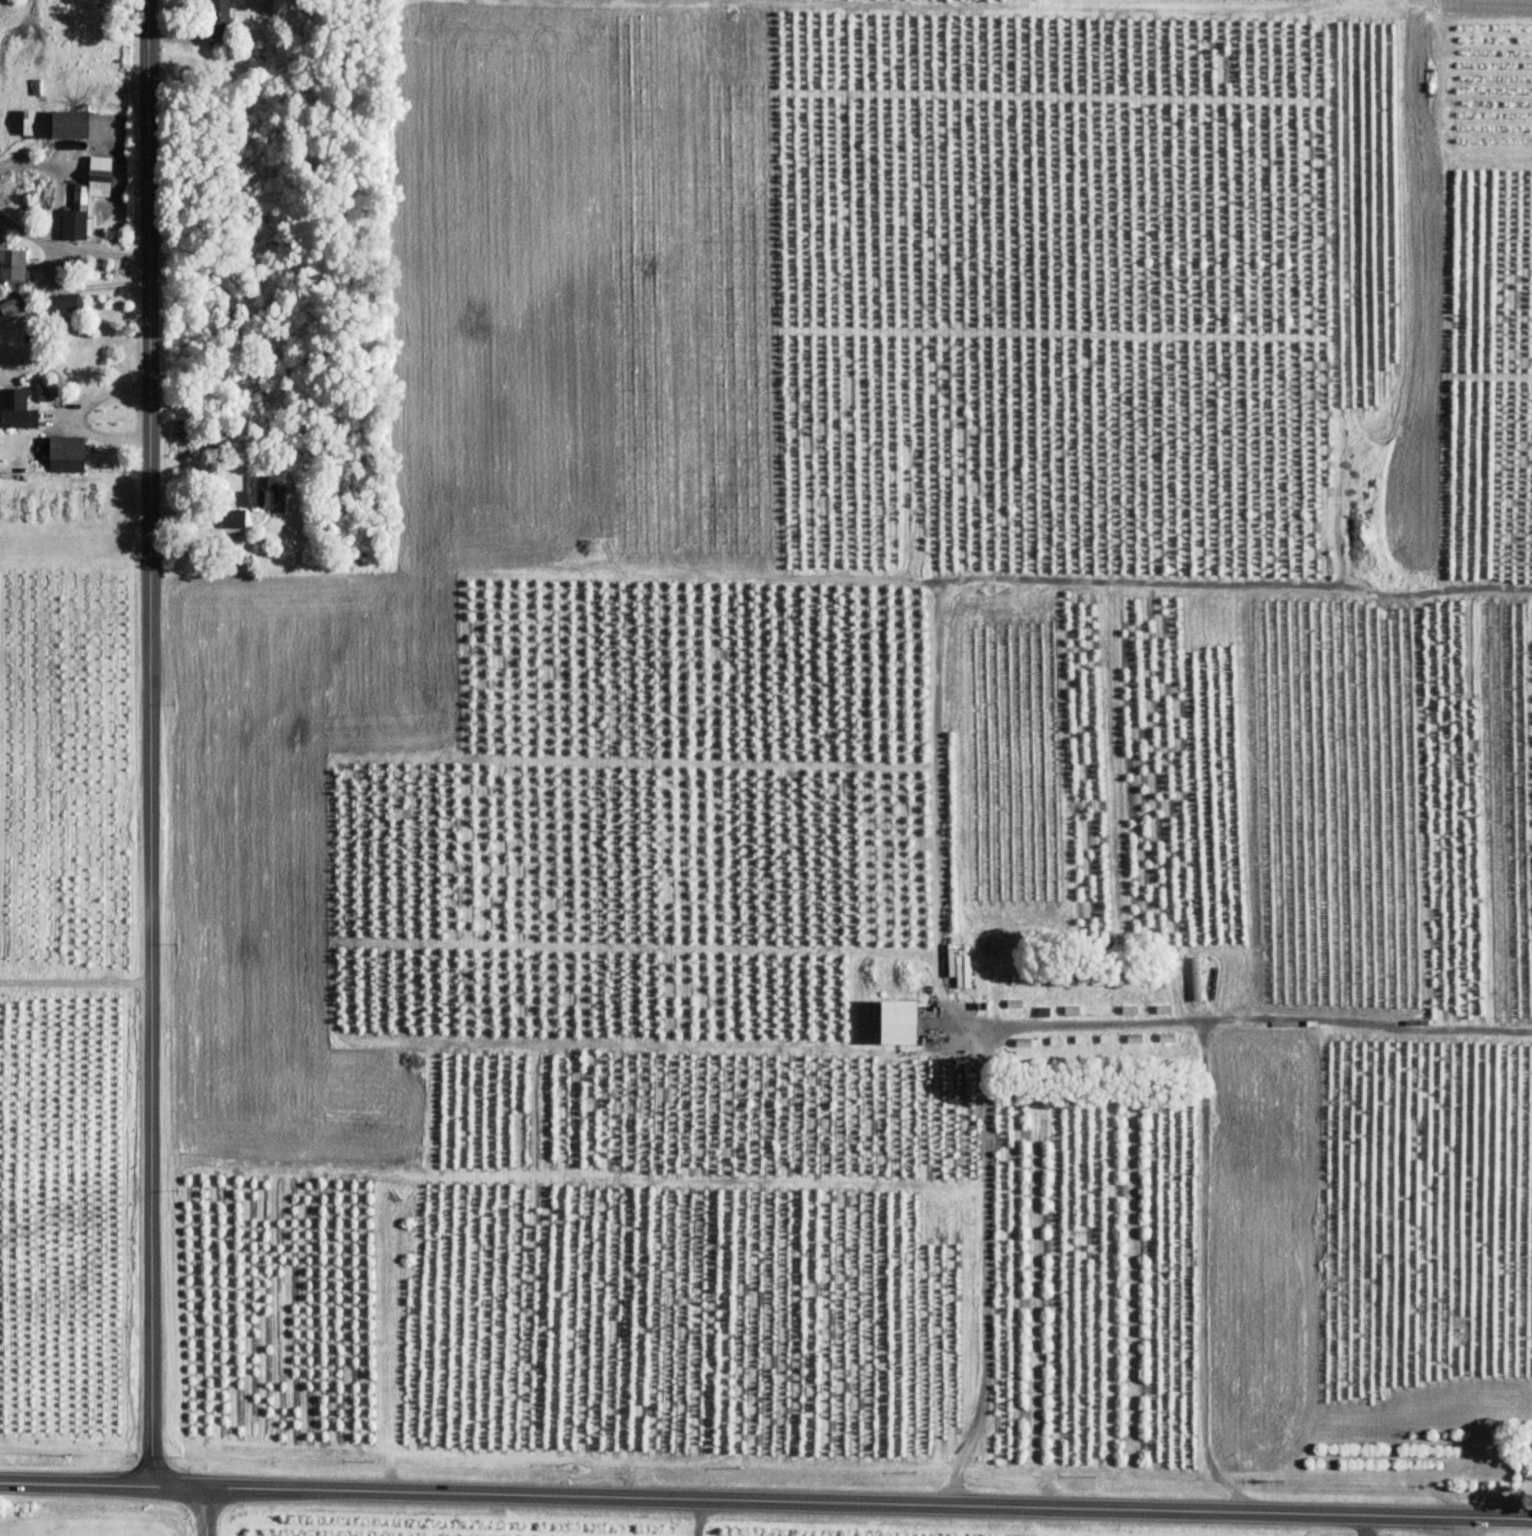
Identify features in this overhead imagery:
building: (220, 19)
building: (57, 125)
building: (87, 199)
road: (30, 234)
building: (12, 267)
road: (48, 272)
building: (13, 308)
building: (17, 409)
road: (76, 414)
building: (63, 448)
building: (272, 493)
building: (234, 519)
road: (203, 543)
road: (150, 743)
building: (1197, 980)
road: (75, 982)
building: (1167, 1040)
road: (1201, 1165)
road: (984, 1232)
road: (766, 1500)
road: (205, 1512)
road: (1467, 1526)

